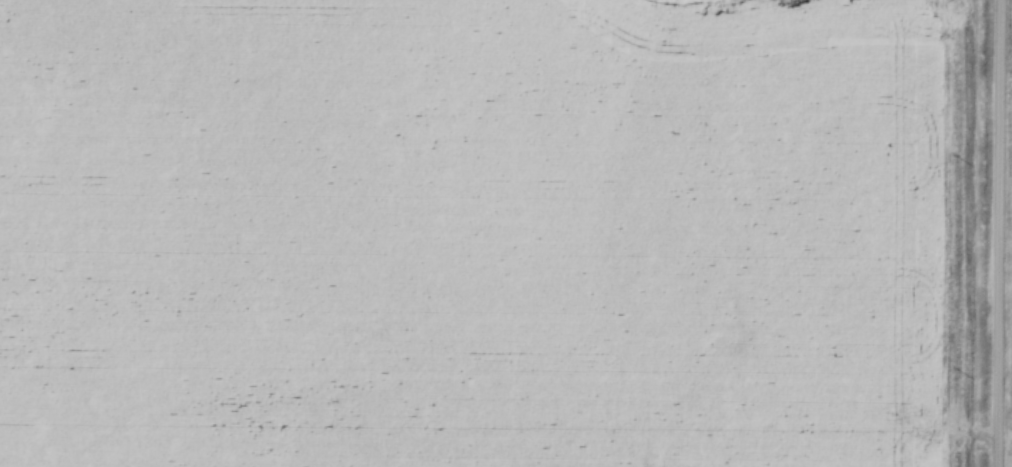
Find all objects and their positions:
road: (1002, 233)

